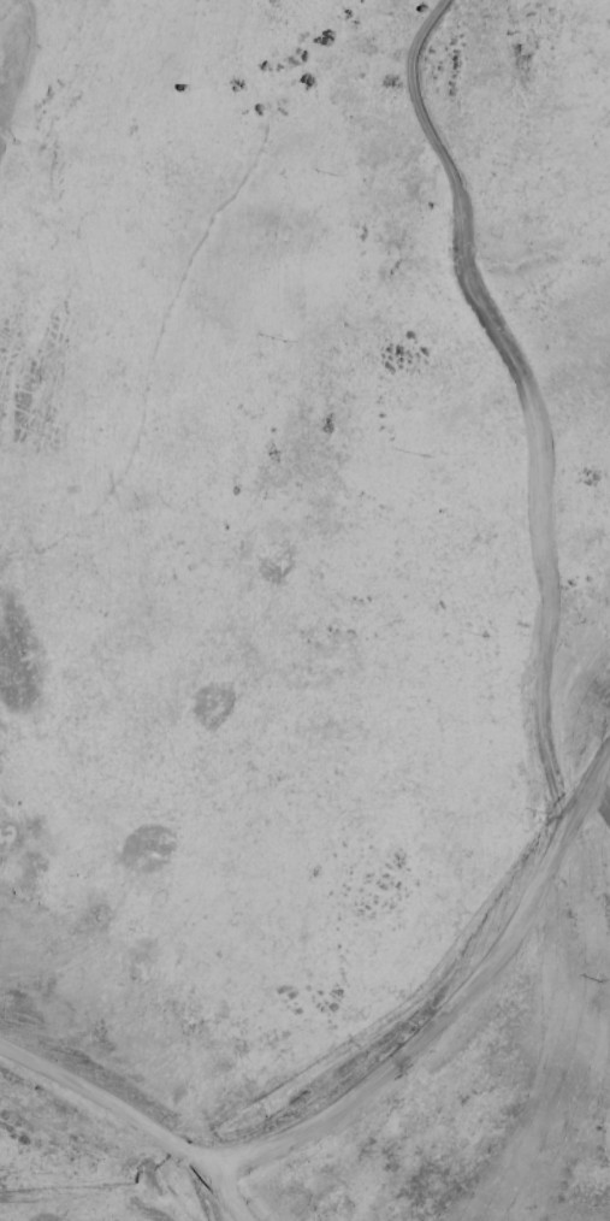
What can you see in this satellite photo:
road: (120, 1061)

